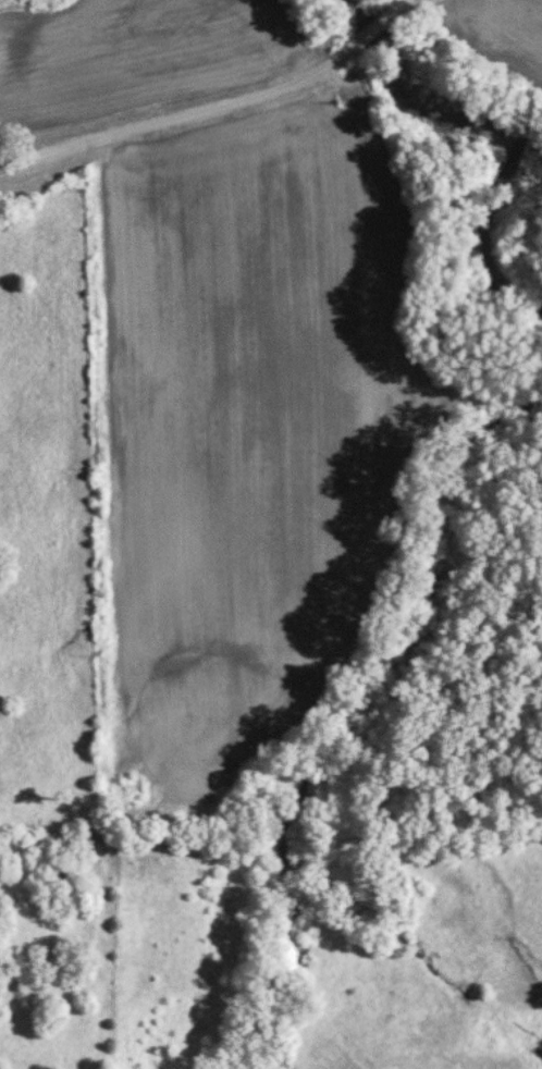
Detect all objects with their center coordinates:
road: (214, 106)

